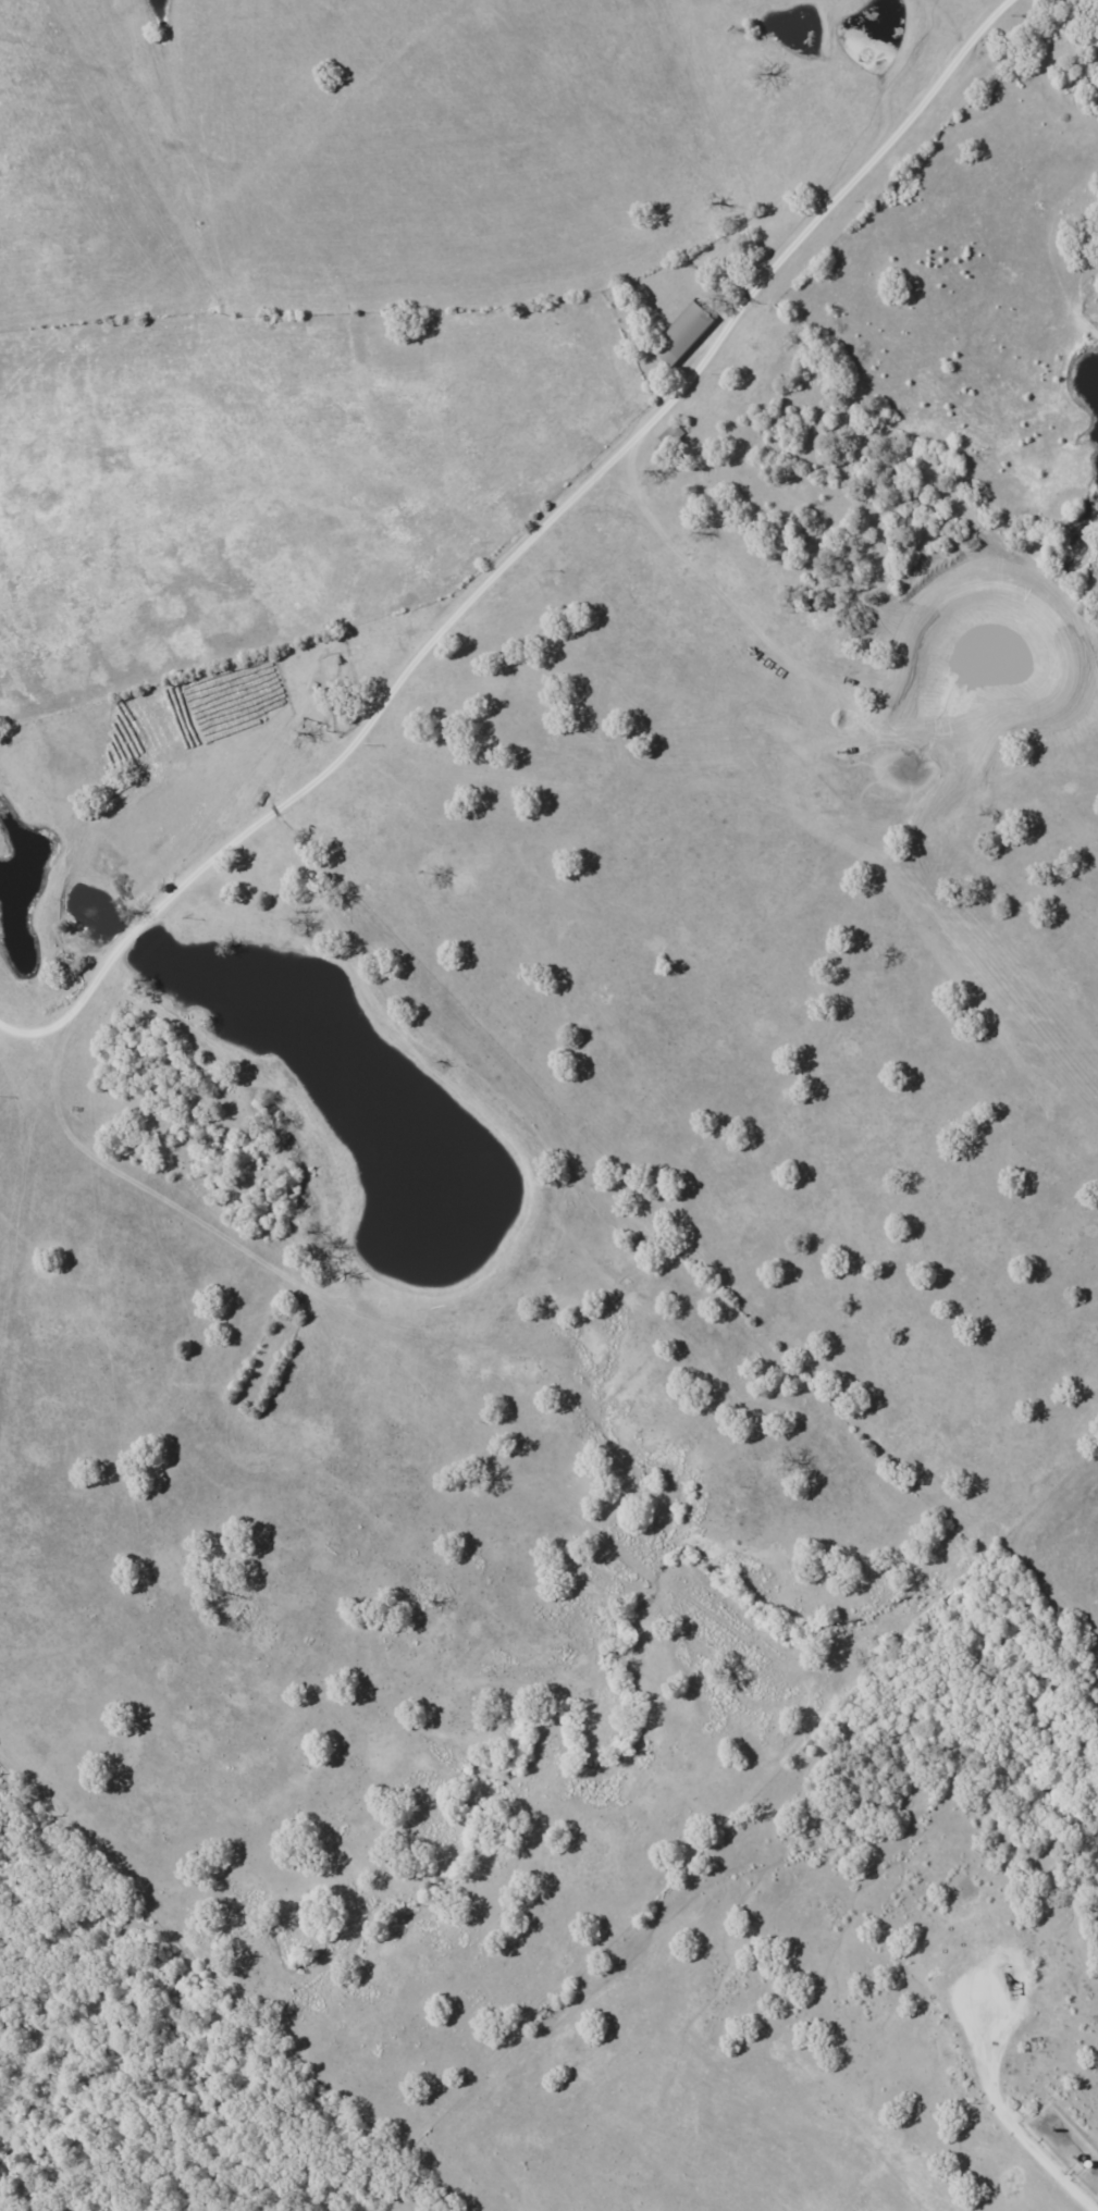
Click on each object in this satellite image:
road: (992, 195)
petroleum well: (1004, 1983)

